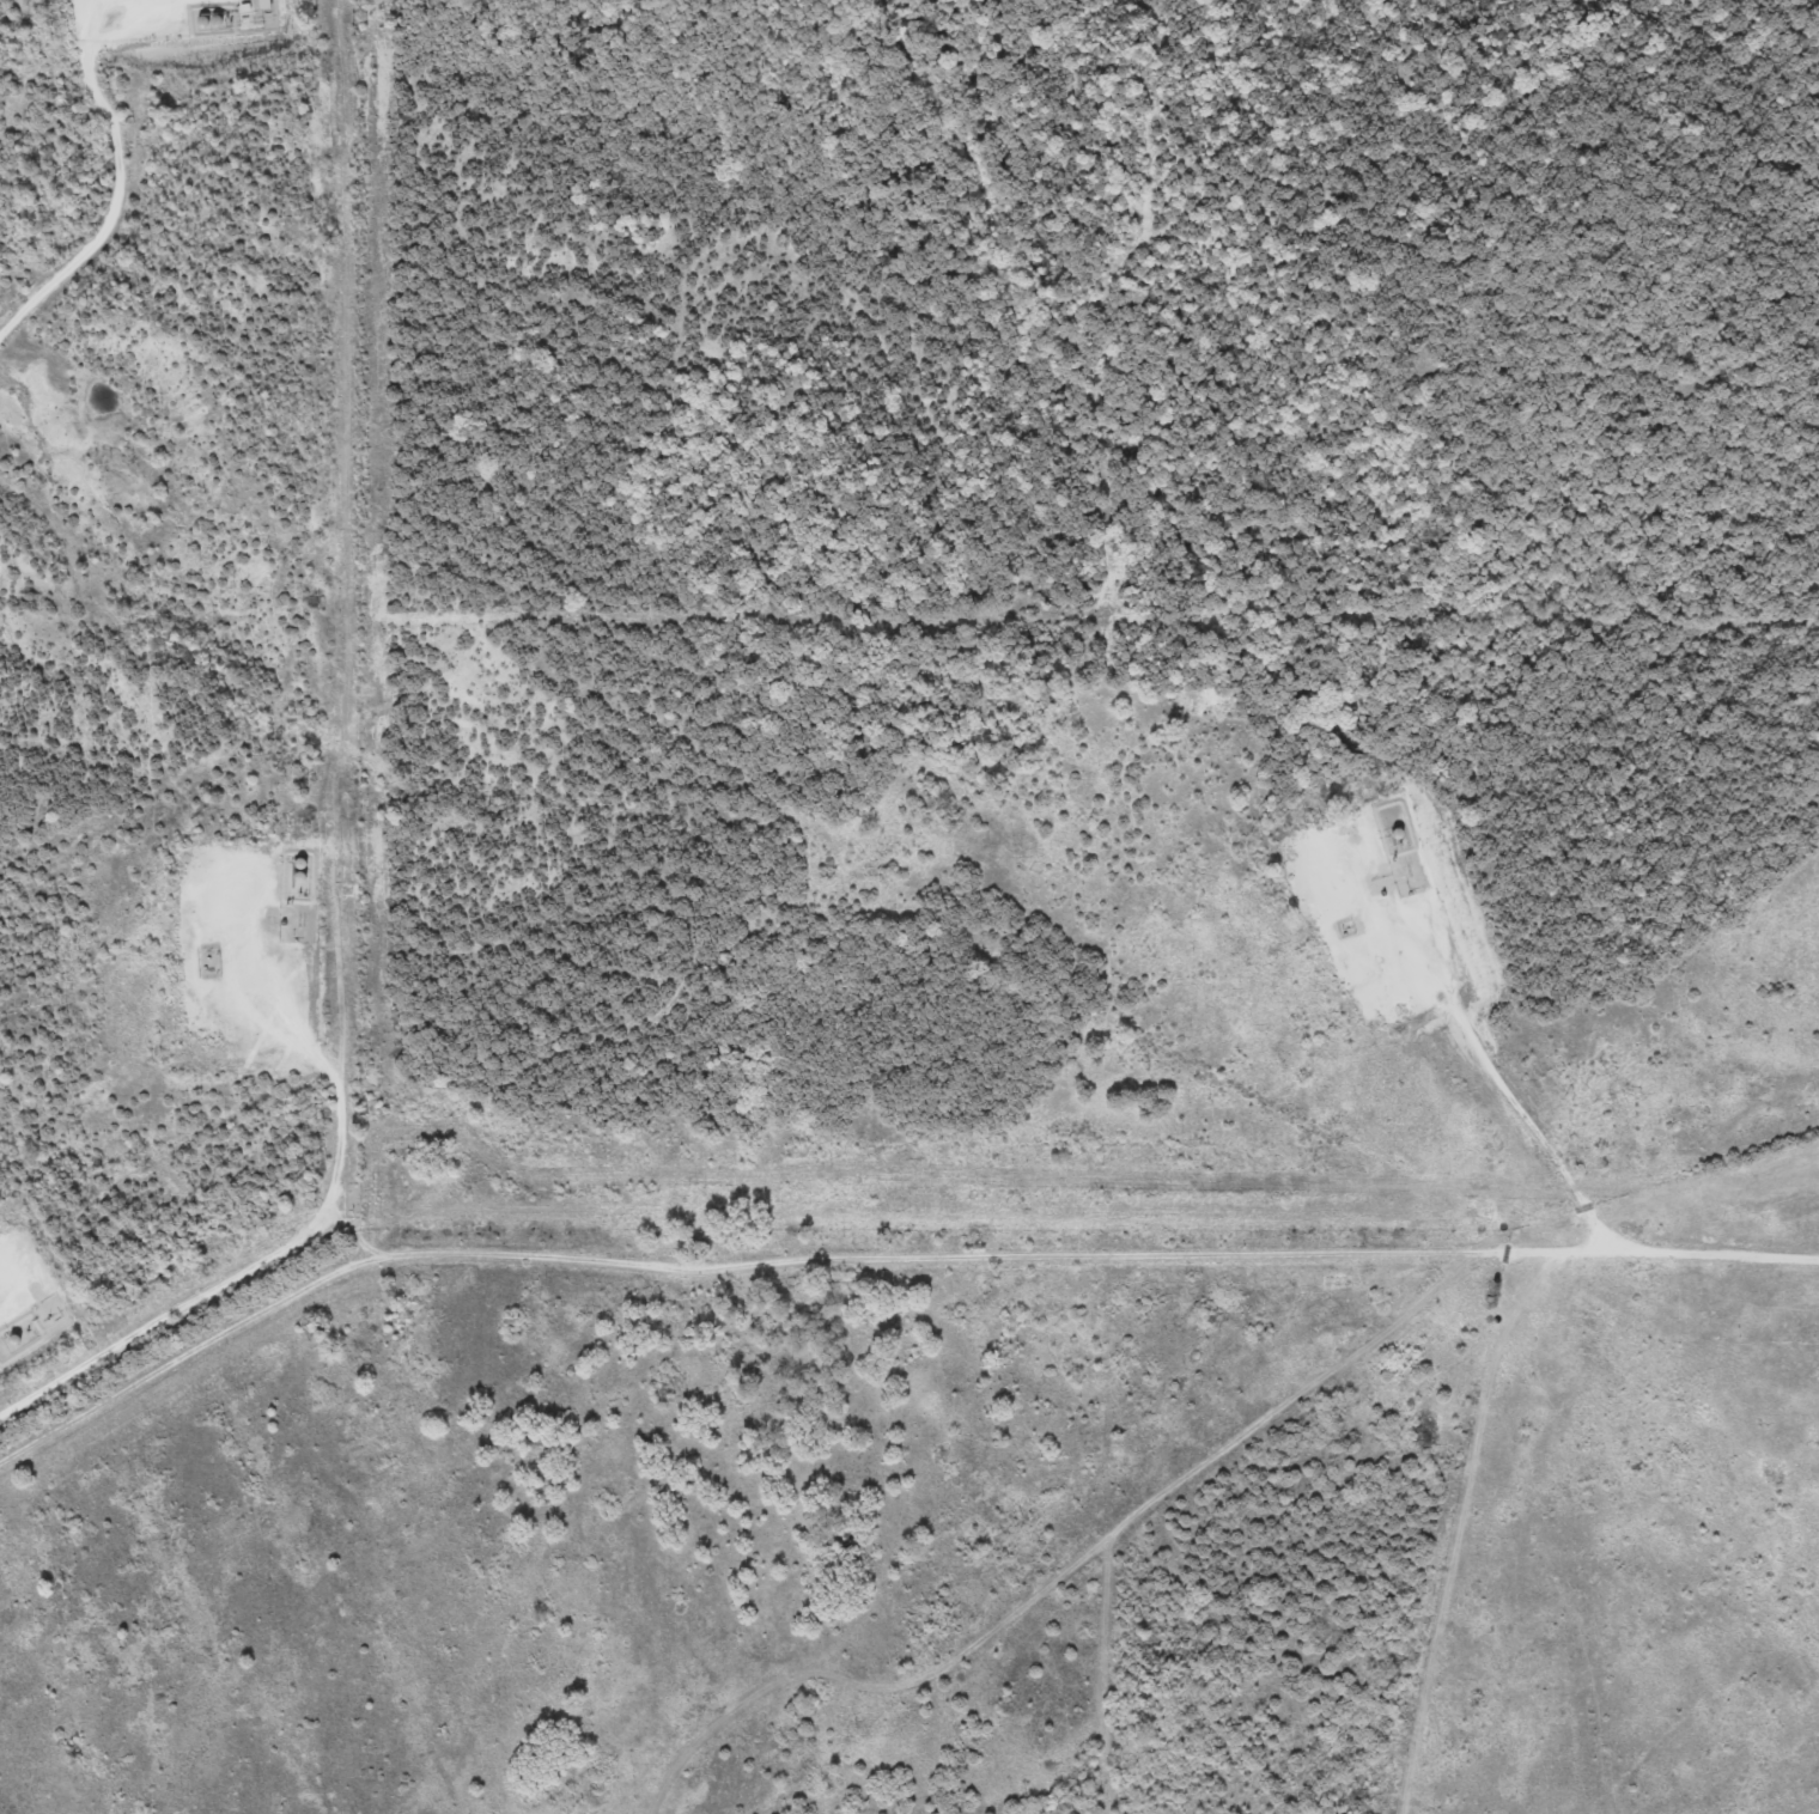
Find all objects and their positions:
road: (109, 172)
road: (1501, 1083)
road: (1715, 1250)
road: (778, 1260)
road: (13, 1286)

